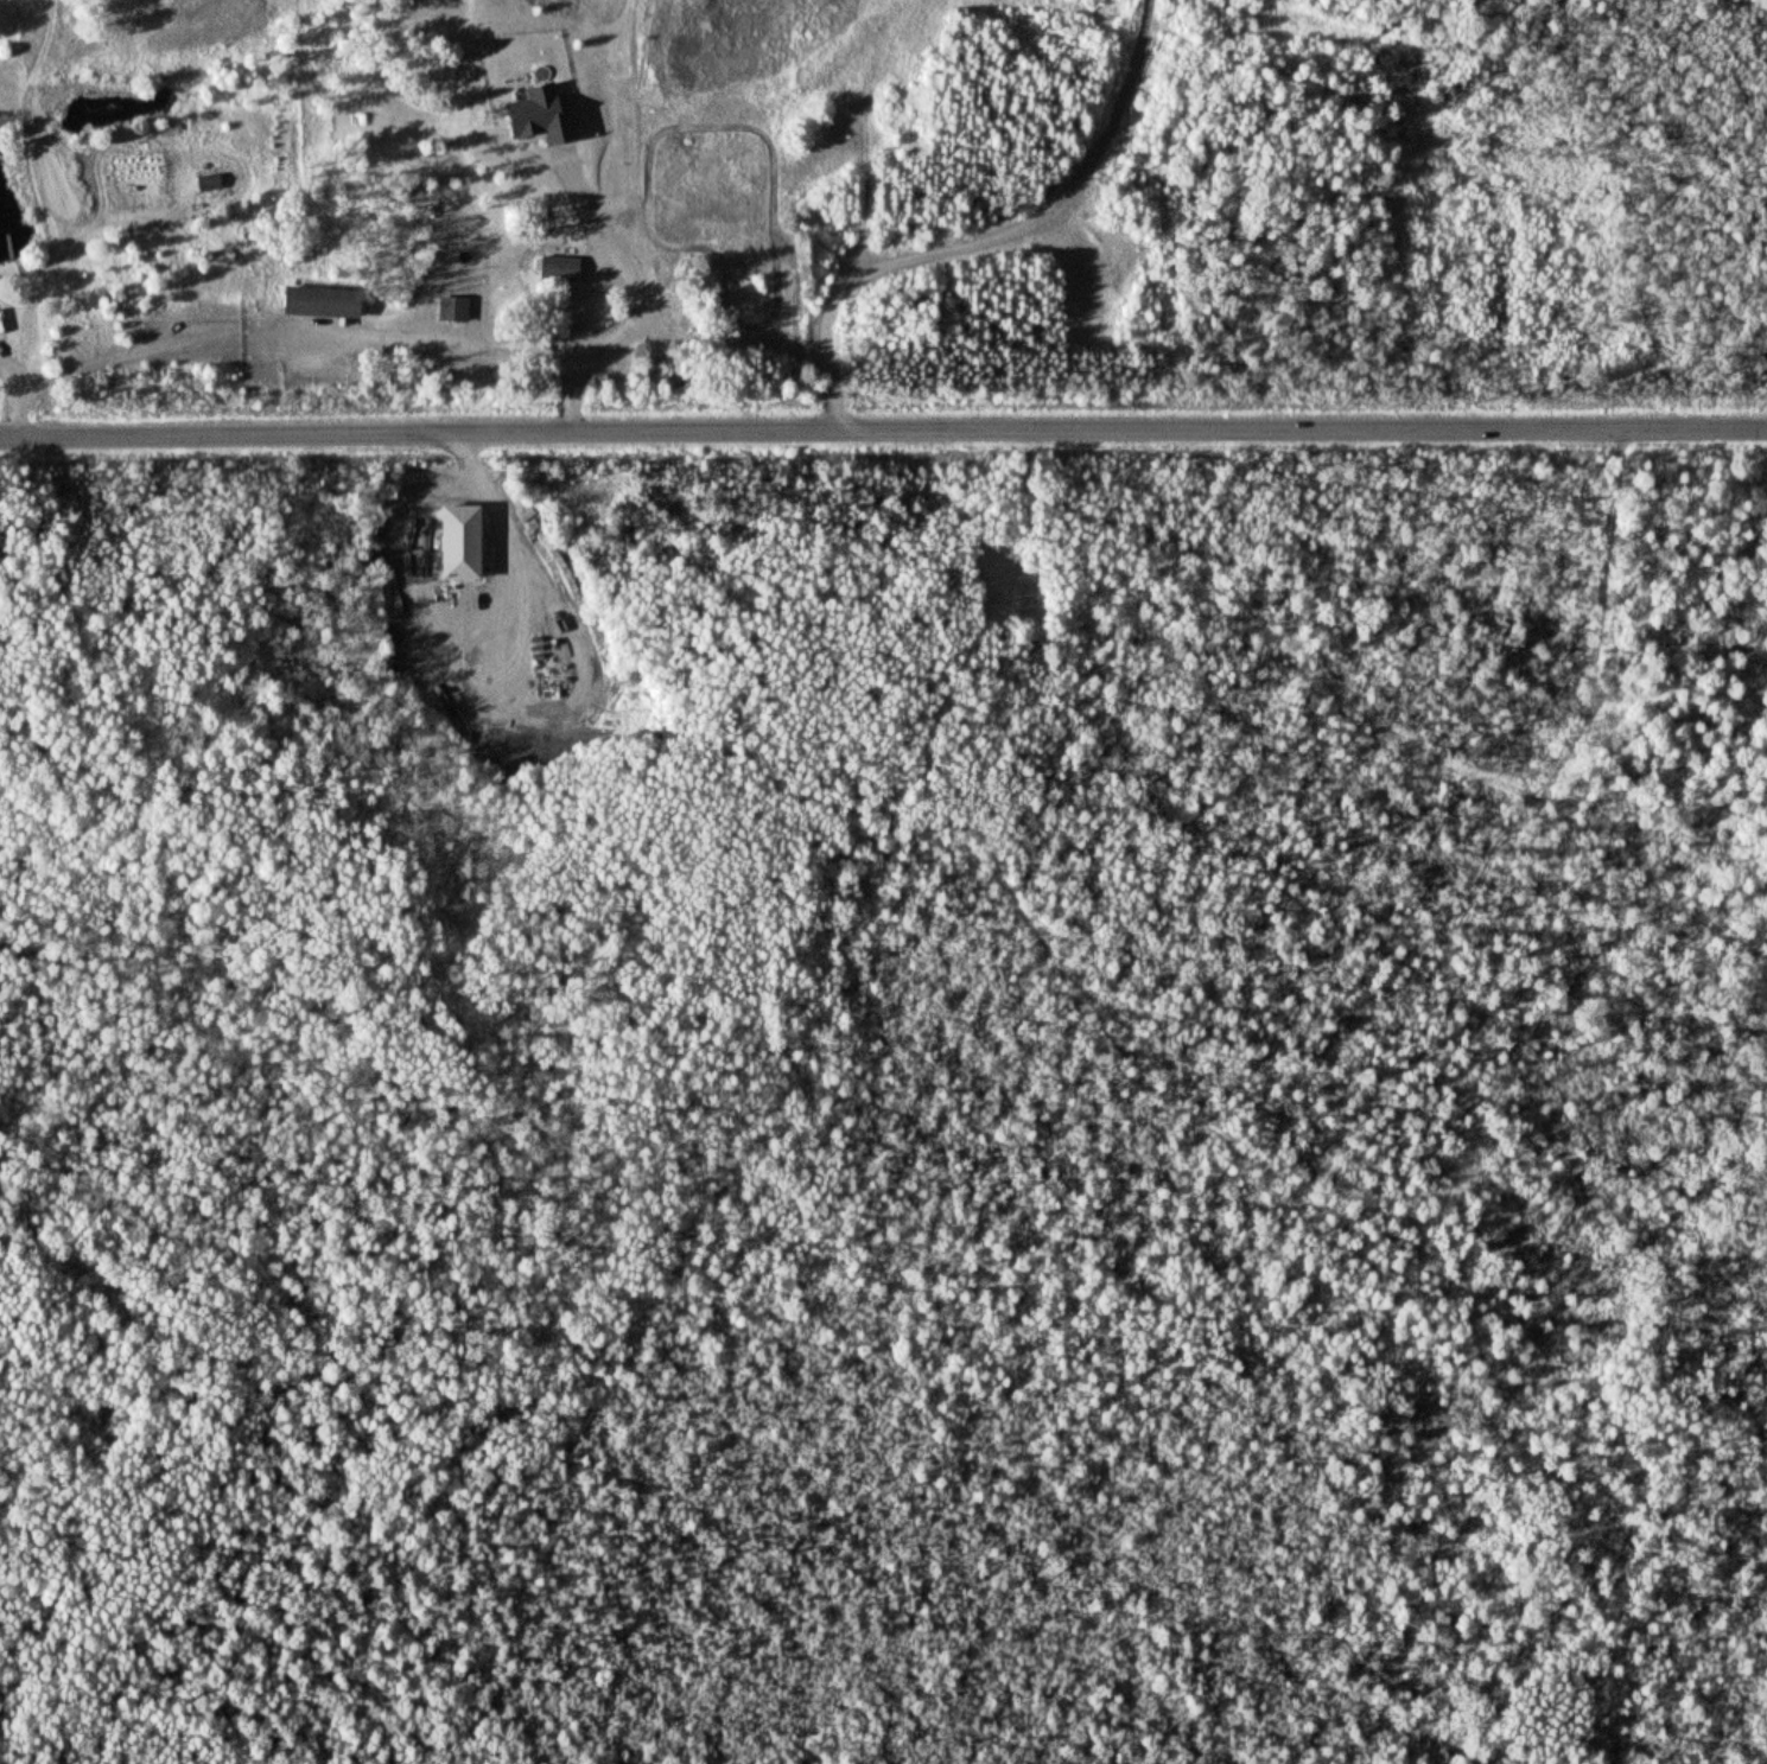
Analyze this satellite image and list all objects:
road: (989, 237)
building: (560, 269)
building: (325, 303)
building: (452, 310)
road: (393, 338)
road: (11, 368)
road: (883, 429)
building: (464, 543)

